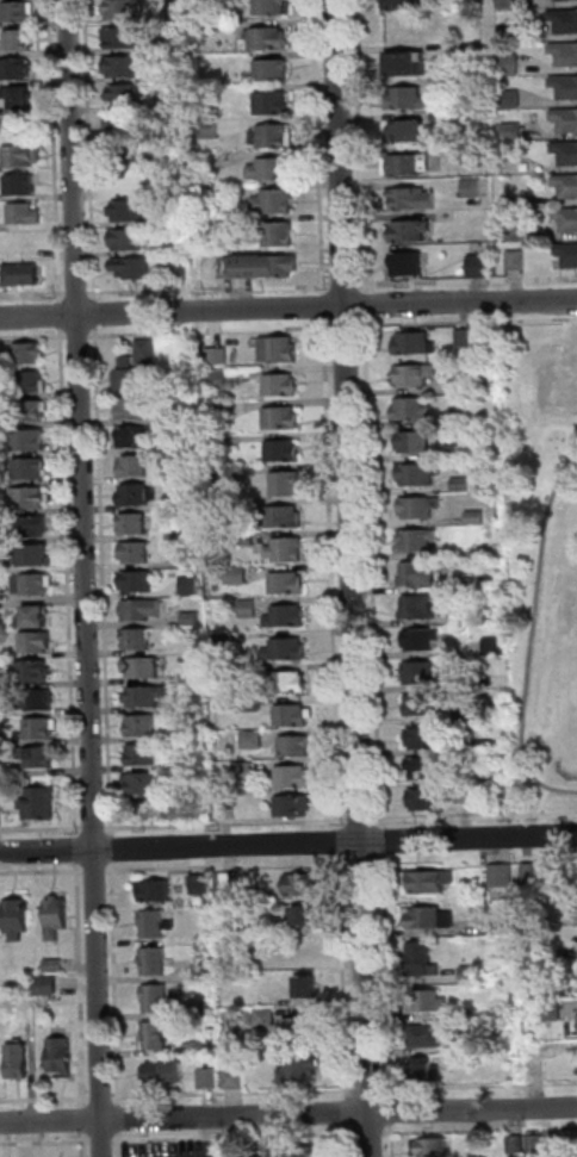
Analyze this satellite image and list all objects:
building: (212, 0)
building: (397, 4)
building: (505, 4)
building: (273, 7)
building: (124, 8)
building: (19, 11)
building: (174, 15)
building: (563, 19)
building: (209, 27)
building: (123, 36)
building: (269, 37)
building: (20, 38)
building: (173, 44)
building: (564, 51)
building: (404, 62)
building: (508, 63)
building: (124, 66)
building: (19, 68)
building: (274, 69)
building: (174, 75)
building: (564, 85)
building: (126, 94)
building: (19, 95)
building: (404, 97)
building: (509, 97)
building: (273, 102)
building: (564, 118)
building: (124, 122)
building: (211, 129)
building: (405, 130)
building: (278, 136)
road: (361, 145)
road: (321, 147)
road: (92, 150)
road: (56, 151)
building: (565, 151)
building: (126, 153)
building: (23, 154)
road: (75, 157)
building: (402, 163)
building: (272, 168)
building: (125, 181)
building: (23, 183)
building: (565, 183)
building: (470, 187)
building: (180, 191)
building: (212, 193)
building: (408, 197)
building: (275, 201)
building: (130, 210)
building: (175, 213)
building: (26, 214)
building: (565, 214)
building: (215, 225)
building: (407, 229)
building: (280, 234)
building: (129, 240)
building: (179, 245)
building: (566, 251)
building: (513, 259)
building: (404, 261)
building: (476, 263)
building: (267, 266)
building: (134, 267)
building: (181, 268)
building: (23, 274)
road: (467, 280)
road: (346, 285)
road: (211, 290)
road: (79, 293)
road: (33, 294)
road: (366, 305)
road: (328, 306)
road: (327, 307)
road: (97, 313)
road: (62, 315)
road: (39, 316)
road: (467, 322)
road: (347, 326)
road: (212, 331)
road: (80, 336)
road: (33, 337)
building: (465, 337)
building: (415, 343)
building: (279, 349)
building: (148, 350)
building: (30, 353)
building: (219, 356)
building: (416, 374)
building: (131, 377)
building: (219, 378)
building: (32, 381)
building: (281, 385)
building: (132, 409)
building: (32, 410)
building: (412, 410)
building: (219, 411)
building: (179, 413)
building: (461, 416)
building: (283, 418)
building: (136, 437)
road: (572, 438)
building: (30, 440)
building: (184, 442)
building: (222, 442)
building: (415, 442)
building: (284, 450)
building: (454, 450)
building: (135, 466)
building: (31, 468)
building: (186, 474)
building: (420, 474)
building: (222, 477)
building: (287, 484)
building: (464, 485)
building: (136, 494)
building: (29, 498)
building: (190, 503)
building: (421, 506)
building: (285, 517)
building: (477, 517)
building: (135, 524)
building: (33, 527)
building: (188, 533)
building: (247, 537)
building: (418, 540)
building: (286, 550)
building: (137, 552)
building: (37, 555)
building: (191, 560)
park: (541, 560)
road: (376, 573)
building: (420, 574)
building: (238, 576)
road: (334, 576)
road: (356, 578)
road: (105, 581)
building: (137, 581)
road: (70, 583)
road: (87, 583)
building: (288, 583)
building: (33, 584)
building: (464, 584)
building: (192, 585)
building: (422, 607)
building: (250, 608)
building: (142, 609)
building: (463, 615)
building: (287, 616)
building: (35, 618)
building: (193, 618)
road: (532, 636)
building: (227, 639)
building: (138, 640)
building: (423, 640)
building: (37, 642)
building: (497, 645)
building: (286, 649)
building: (143, 668)
building: (33, 671)
building: (253, 671)
building: (422, 673)
building: (194, 676)
building: (1, 680)
building: (287, 683)
building: (147, 696)
building: (42, 701)
building: (254, 705)
building: (422, 705)
building: (294, 715)
building: (477, 717)
building: (143, 726)
building: (42, 728)
building: (193, 733)
building: (426, 738)
building: (254, 740)
building: (296, 746)
building: (486, 746)
building: (142, 754)
building: (39, 758)
building: (427, 769)
building: (247, 771)
building: (496, 773)
building: (294, 777)
building: (0, 778)
building: (143, 783)
building: (467, 795)
building: (428, 800)
road: (540, 801)
building: (41, 804)
building: (294, 805)
building: (230, 808)
building: (173, 810)
building: (1, 815)
road: (476, 817)
road: (362, 821)
road: (229, 823)
road: (95, 827)
road: (42, 828)
road: (384, 841)
road: (335, 842)
road: (342, 842)
road: (77, 844)
road: (114, 848)
road: (529, 850)
road: (46, 851)
road: (553, 857)
road: (201, 859)
road: (381, 860)
road: (347, 861)
road: (365, 861)
road: (155, 869)
road: (103, 870)
building: (529, 872)
building: (503, 876)
building: (429, 882)
building: (229, 883)
building: (200, 884)
building: (299, 885)
building: (155, 891)
building: (305, 916)
building: (57, 917)
building: (429, 919)
building: (17, 920)
building: (156, 925)
building: (504, 926)
building: (283, 927)
building: (204, 939)
building: (296, 952)
building: (423, 960)
building: (155, 962)
building: (247, 964)
building: (56, 965)
building: (206, 971)
building: (472, 974)
road: (390, 976)
road: (346, 977)
road: (117, 983)
road: (100, 984)
building: (49, 985)
building: (308, 988)
building: (544, 990)
building: (156, 999)
building: (25, 1001)
building: (429, 1001)
building: (201, 1008)
building: (552, 1010)
building: (472, 1015)
building: (267, 1016)
building: (302, 1028)
building: (157, 1035)
building: (428, 1035)
building: (201, 1047)
building: (471, 1047)
building: (62, 1057)
building: (19, 1062)
building: (302, 1070)
building: (428, 1070)
building: (157, 1072)
building: (175, 1072)
building: (235, 1078)
building: (211, 1080)
road: (479, 1086)
road: (371, 1089)
road: (236, 1093)
road: (108, 1097)
road: (393, 1112)
road: (340, 1113)
road: (349, 1113)
road: (51, 1120)
road: (122, 1120)
road: (87, 1126)
road: (482, 1130)
road: (372, 1132)
road: (355, 1133)
road: (211, 1137)
road: (105, 1138)
road: (163, 1139)
road: (104, 1140)
road: (395, 1140)
road: (46, 1142)
road: (350, 1142)
road: (87, 1144)
building: (517, 1144)
building: (538, 1144)
road: (122, 1145)
parking lot: (176, 1149)
building: (433, 1149)
building: (235, 1151)
building: (306, 1152)

